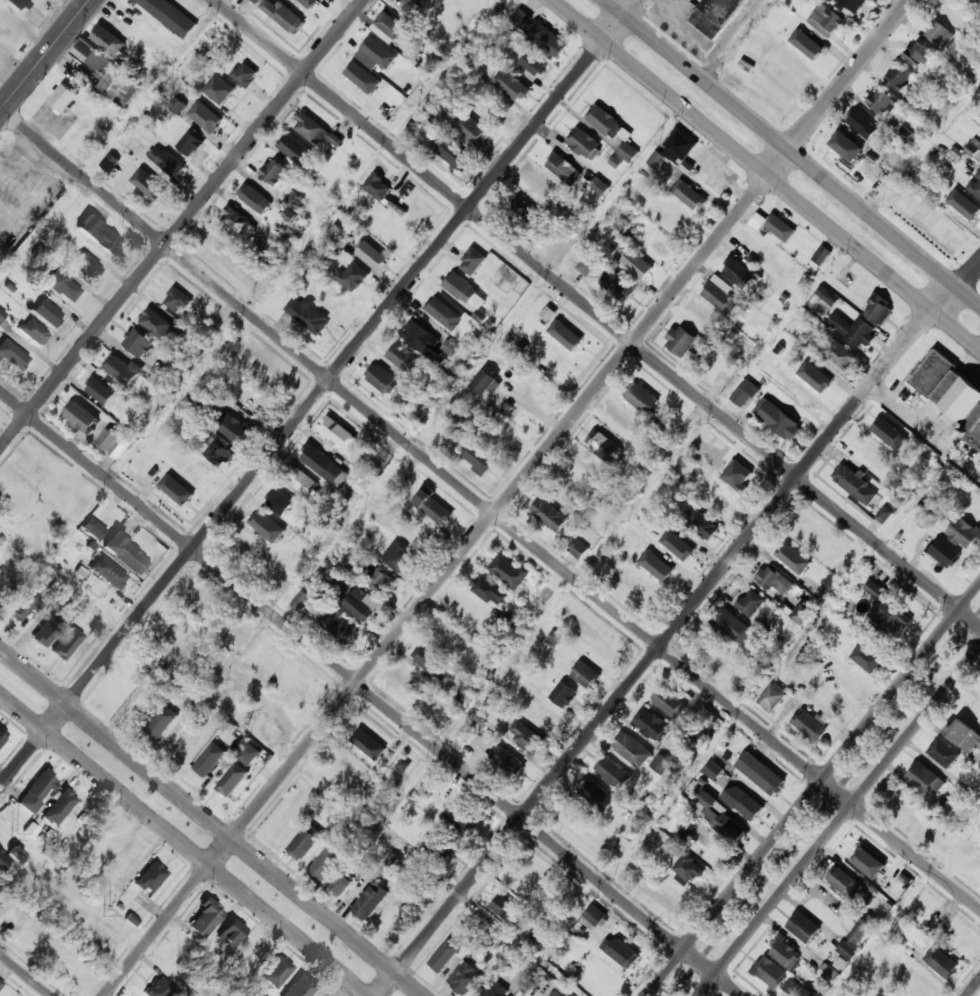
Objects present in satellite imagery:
building: (977, 0)
building: (256, 1)
building: (19, 4)
building: (415, 4)
building: (850, 4)
building: (311, 5)
building: (171, 15)
building: (717, 16)
building: (287, 17)
building: (521, 18)
building: (826, 19)
building: (389, 24)
building: (939, 33)
building: (107, 39)
building: (546, 39)
building: (813, 49)
building: (378, 51)
building: (4, 55)
road: (45, 55)
building: (923, 55)
building: (99, 64)
building: (534, 64)
building: (359, 71)
building: (245, 74)
building: (898, 77)
building: (512, 85)
building: (979, 86)
building: (223, 95)
building: (62, 98)
building: (883, 101)
building: (176, 104)
building: (206, 116)
building: (605, 121)
building: (863, 124)
building: (432, 128)
building: (313, 129)
building: (471, 131)
building: (190, 143)
building: (582, 143)
building: (845, 146)
building: (973, 146)
building: (294, 148)
building: (674, 148)
building: (627, 151)
building: (452, 152)
road: (790, 153)
building: (166, 161)
building: (109, 162)
building: (561, 167)
building: (274, 172)
road: (770, 172)
building: (599, 185)
building: (975, 185)
building: (377, 186)
building: (148, 187)
building: (689, 195)
building: (254, 198)
building: (964, 206)
building: (521, 209)
building: (758, 219)
building: (237, 221)
road: (181, 224)
building: (779, 227)
building: (97, 234)
building: (340, 235)
building: (274, 246)
building: (821, 254)
building: (371, 255)
building: (472, 261)
building: (582, 262)
building: (637, 264)
building: (88, 266)
building: (738, 272)
building: (353, 276)
building: (618, 285)
building: (63, 286)
building: (520, 286)
building: (461, 287)
building: (721, 295)
building: (826, 295)
building: (177, 301)
building: (879, 310)
building: (548, 312)
road: (596, 312)
building: (48, 313)
building: (444, 313)
building: (1, 314)
building: (307, 314)
building: (156, 322)
road: (784, 326)
building: (856, 331)
building: (33, 332)
building: (567, 339)
building: (423, 340)
building: (681, 340)
building: (138, 342)
building: (450, 347)
building: (839, 354)
building: (14, 355)
building: (403, 357)
building: (122, 370)
building: (824, 377)
building: (383, 379)
building: (485, 383)
building: (99, 390)
road: (317, 392)
building: (744, 392)
building: (952, 392)
building: (642, 398)
building: (800, 402)
building: (253, 405)
building: (80, 415)
building: (781, 420)
building: (234, 428)
building: (338, 432)
building: (891, 434)
building: (108, 440)
building: (604, 446)
building: (219, 452)
building: (478, 457)
building: (873, 457)
building: (323, 464)
building: (733, 474)
building: (300, 479)
building: (855, 484)
building: (180, 495)
road: (506, 497)
building: (280, 502)
building: (721, 502)
building: (15, 503)
road: (490, 506)
building: (975, 506)
building: (434, 507)
building: (884, 514)
building: (549, 515)
building: (701, 524)
building: (268, 526)
building: (95, 530)
building: (906, 532)
building: (963, 532)
building: (414, 534)
building: (817, 536)
building: (677, 545)
building: (578, 549)
building: (123, 553)
building: (945, 553)
building: (398, 556)
building: (793, 560)
building: (509, 570)
building: (665, 571)
building: (107, 573)
building: (381, 580)
building: (774, 580)
building: (489, 591)
building: (875, 591)
building: (301, 600)
building: (750, 603)
building: (359, 604)
building: (21, 606)
building: (802, 614)
building: (891, 618)
building: (338, 625)
road: (675, 626)
building: (734, 627)
building: (47, 630)
building: (174, 632)
building: (449, 637)
building: (553, 638)
building: (66, 644)
building: (866, 658)
building: (488, 659)
building: (433, 663)
building: (585, 675)
building: (298, 684)
road: (371, 693)
building: (563, 694)
building: (772, 697)
building: (669, 701)
building: (831, 702)
building: (139, 709)
building: (545, 718)
building: (808, 722)
building: (652, 725)
building: (160, 729)
building: (964, 735)
building: (2, 736)
building: (526, 737)
building: (365, 738)
building: (632, 749)
building: (249, 753)
building: (942, 753)
building: (506, 761)
building: (660, 763)
building: (205, 765)
building: (979, 765)
building: (713, 769)
building: (613, 772)
building: (761, 773)
building: (925, 779)
building: (229, 783)
road: (813, 790)
building: (37, 792)
building: (598, 795)
road: (822, 801)
building: (743, 802)
building: (59, 807)
building: (461, 816)
road: (838, 820)
road: (212, 822)
building: (729, 828)
building: (305, 842)
building: (104, 843)
road: (185, 844)
road: (959, 845)
building: (443, 851)
building: (17, 854)
building: (3, 860)
building: (326, 864)
building: (870, 868)
building: (689, 869)
building: (151, 878)
building: (844, 882)
building: (342, 884)
building: (371, 901)
building: (505, 908)
building: (594, 915)
building: (131, 919)
building: (205, 919)
building: (938, 923)
building: (804, 927)
building: (862, 931)
building: (538, 932)
building: (230, 933)
building: (95, 934)
building: (29, 937)
building: (844, 948)
building: (620, 951)
building: (785, 952)
building: (251, 955)
building: (444, 960)
building: (941, 962)
building: (66, 966)
building: (770, 972)
building: (276, 973)
building: (827, 973)
road: (26, 974)
building: (604, 976)
building: (465, 978)
building: (1, 983)
building: (790, 985)
building: (300, 987)
building: (161, 988)
road: (974, 988)
building: (494, 990)
building: (805, 992)
building: (557, 994)

